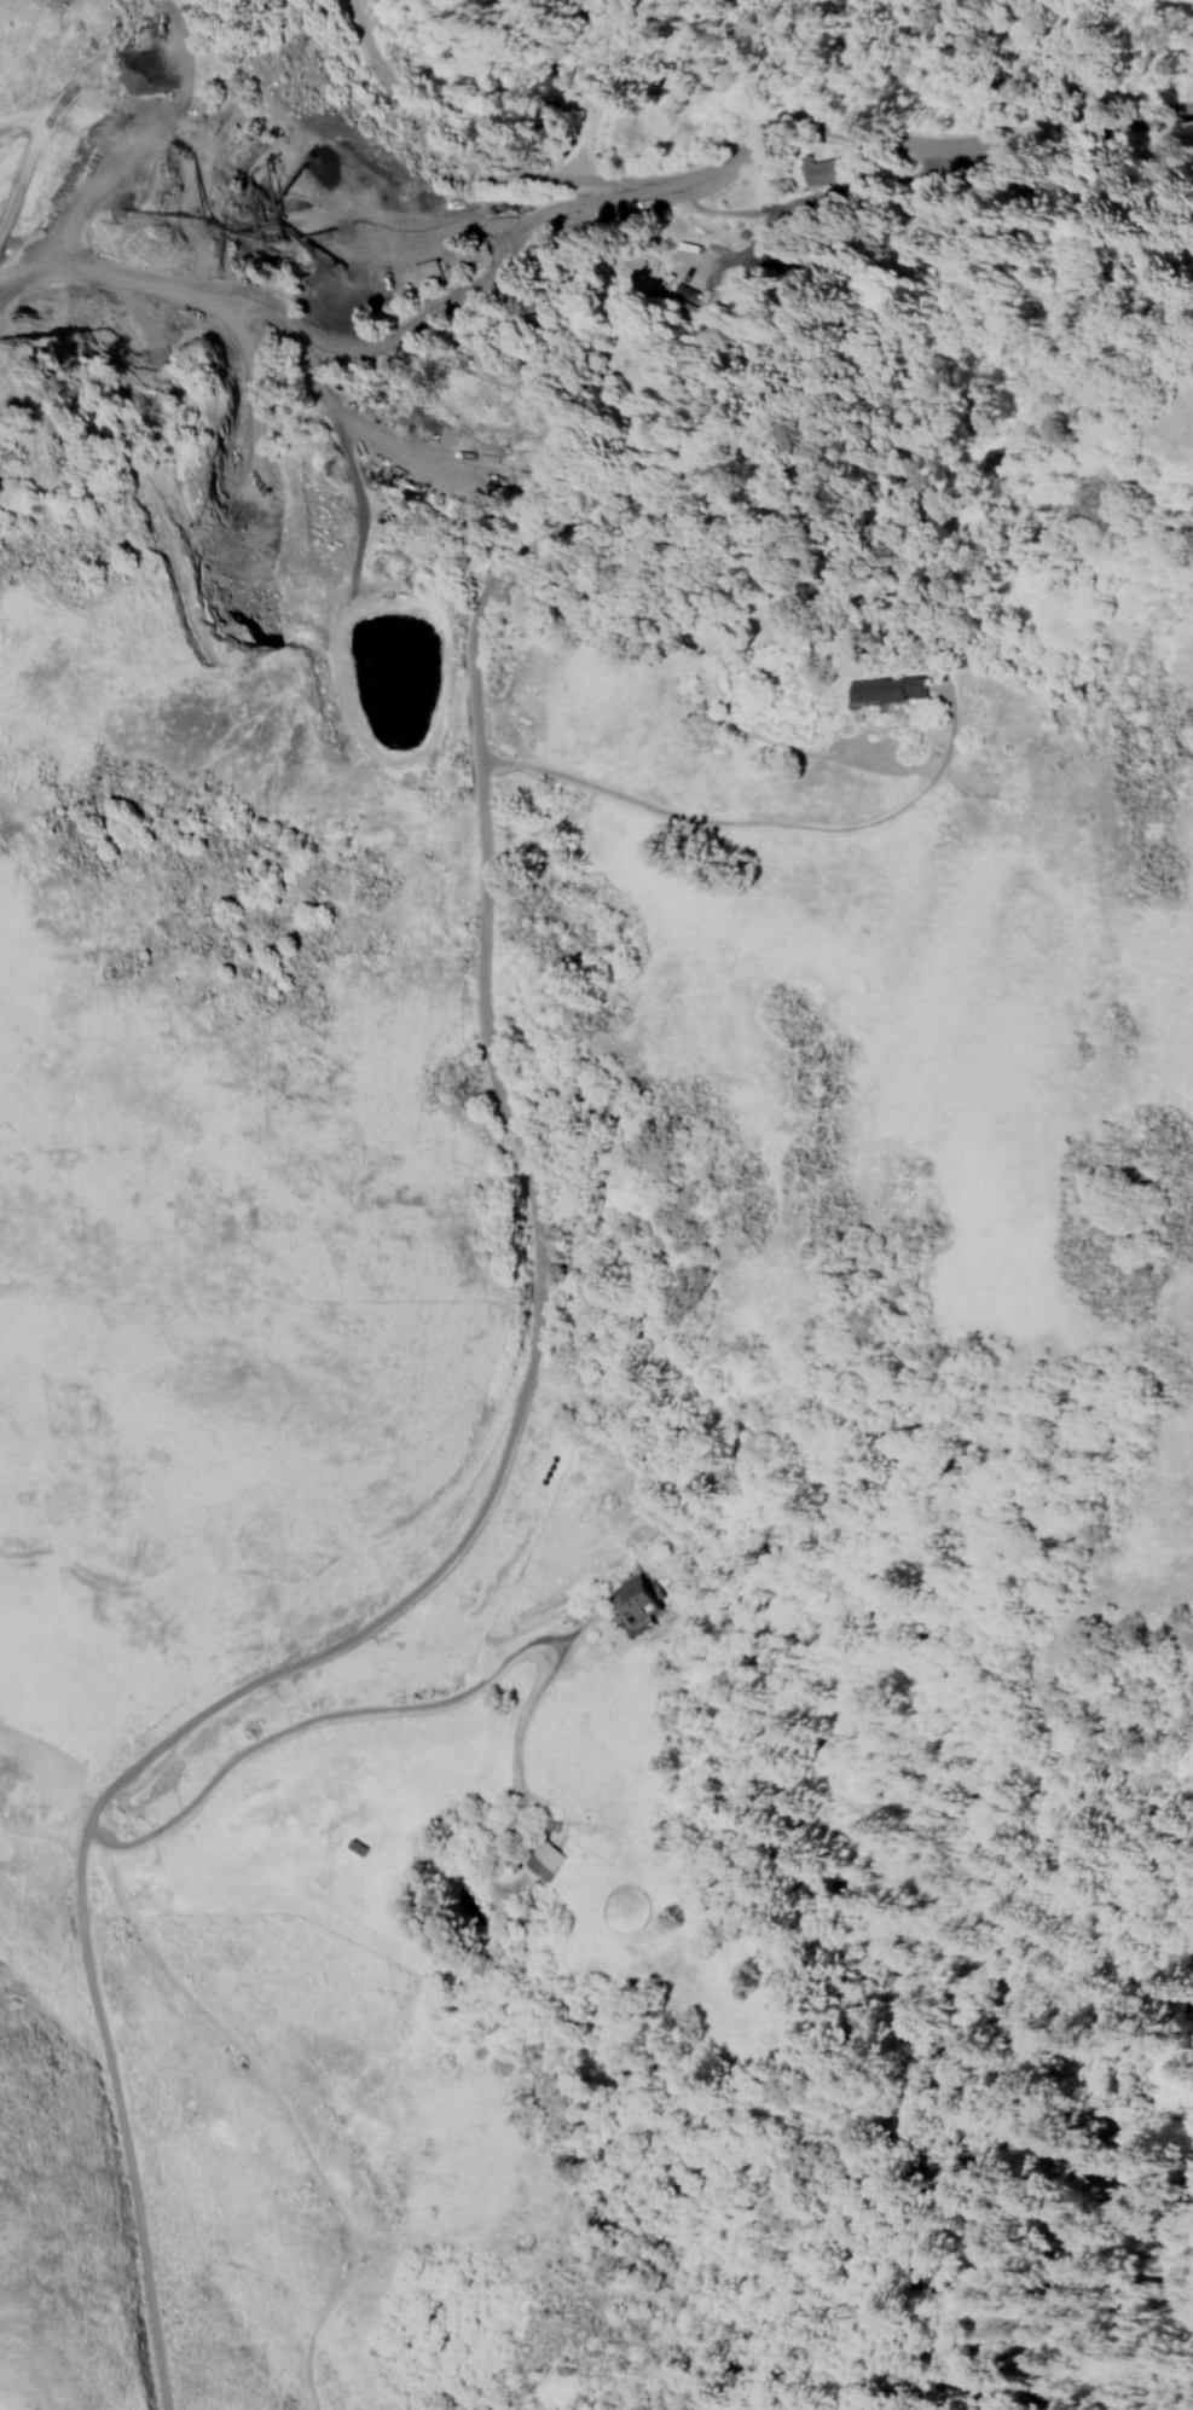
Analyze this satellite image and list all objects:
road: (1098, 129)
building: (820, 173)
road: (639, 193)
quarry: (233, 237)
building: (880, 691)
road: (760, 824)
road: (539, 1261)
building: (637, 1601)
road: (401, 1708)
building: (352, 1848)
building: (542, 1862)
road: (278, 2103)

